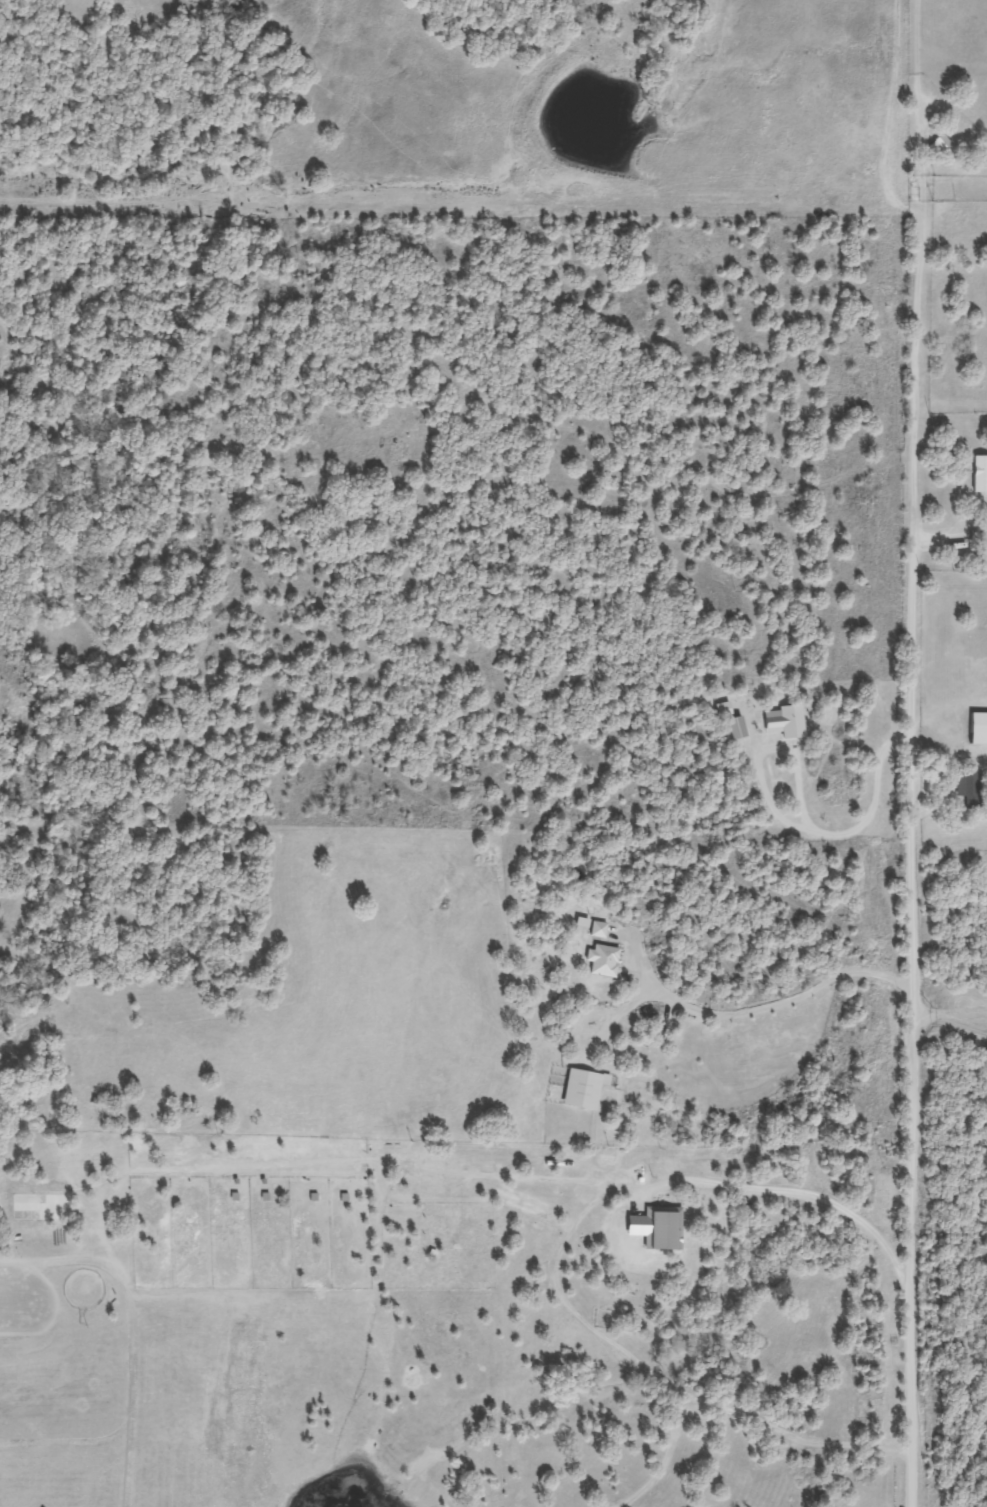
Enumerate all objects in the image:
road: (916, 338)
building: (979, 474)
building: (977, 728)
building: (967, 787)
road: (784, 823)
building: (597, 929)
building: (601, 959)
road: (914, 983)
road: (778, 1006)
road: (951, 1022)
building: (580, 1089)
road: (791, 1193)
building: (652, 1229)

